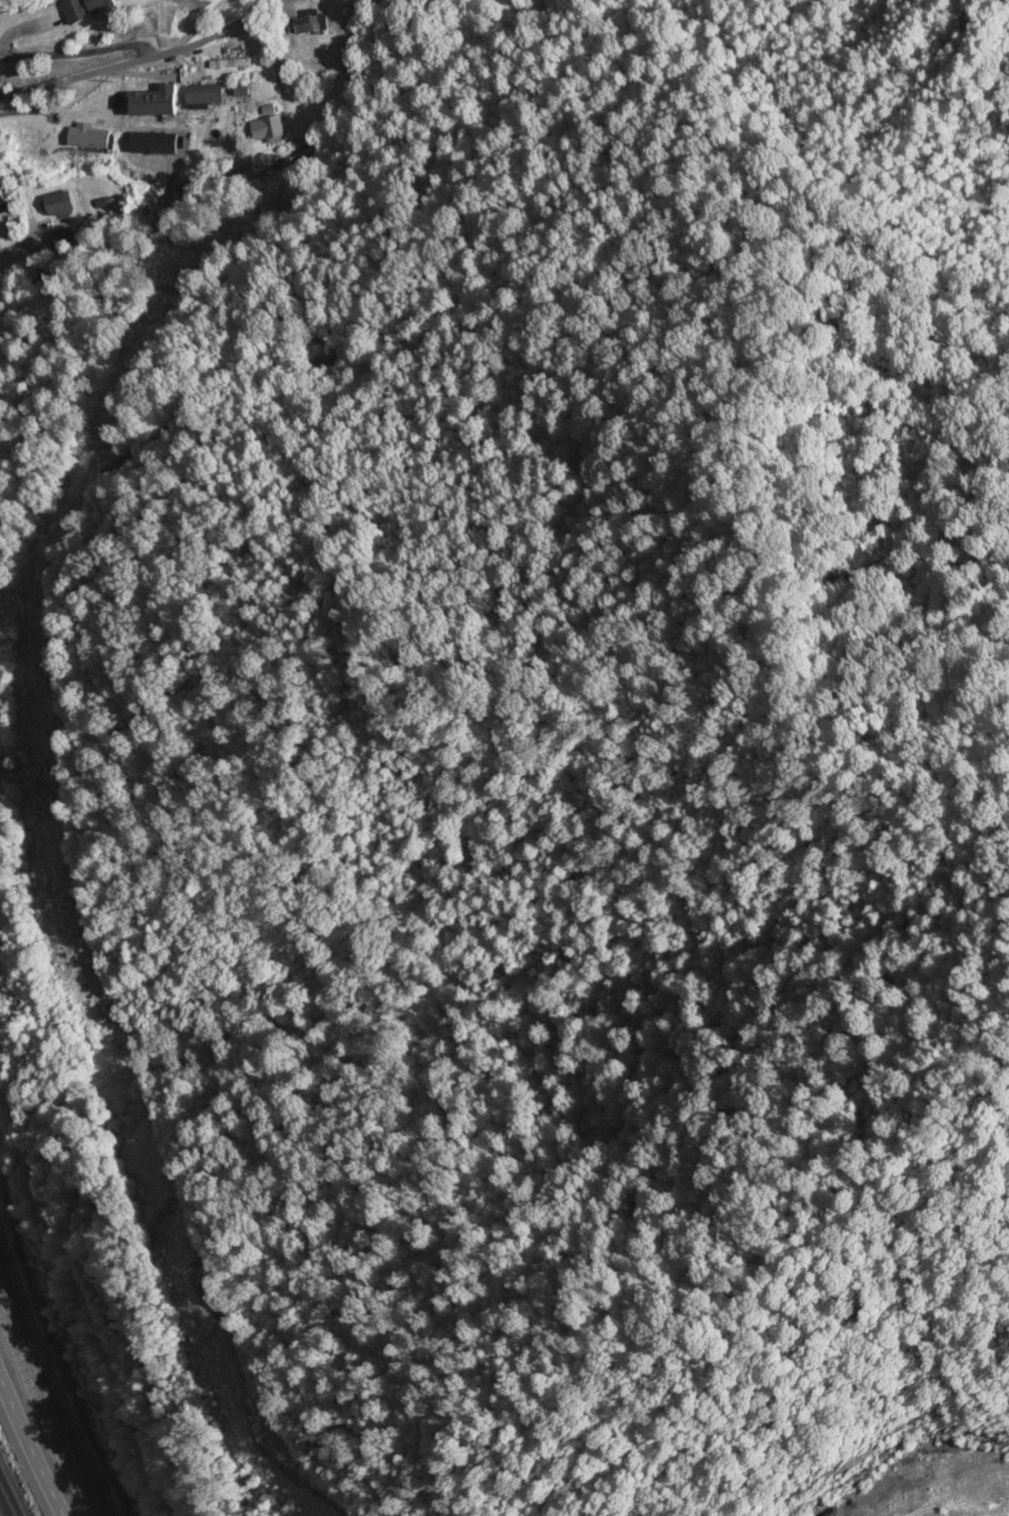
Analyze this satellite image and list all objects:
building: (191, 0)
building: (95, 9)
building: (315, 23)
road: (148, 58)
building: (231, 64)
building: (206, 94)
building: (161, 102)
building: (270, 131)
building: (92, 137)
building: (4, 195)
building: (61, 203)
road: (35, 1425)
road: (21, 1469)
railway: (10, 1494)
railway: (5, 1505)

